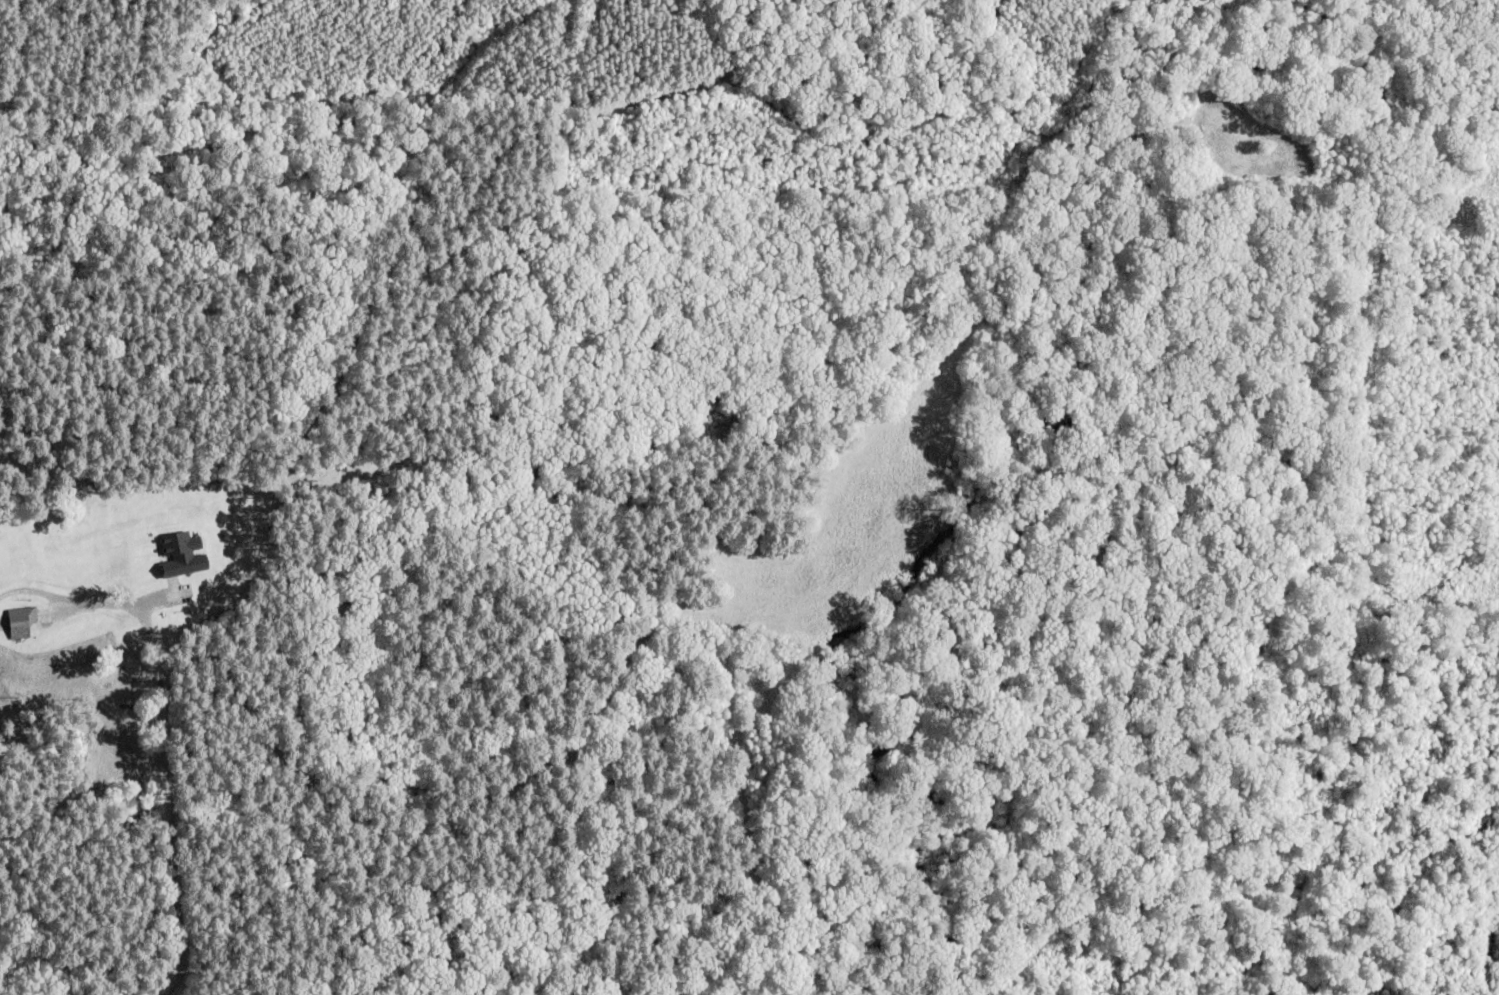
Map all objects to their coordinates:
building: (22, 622)

